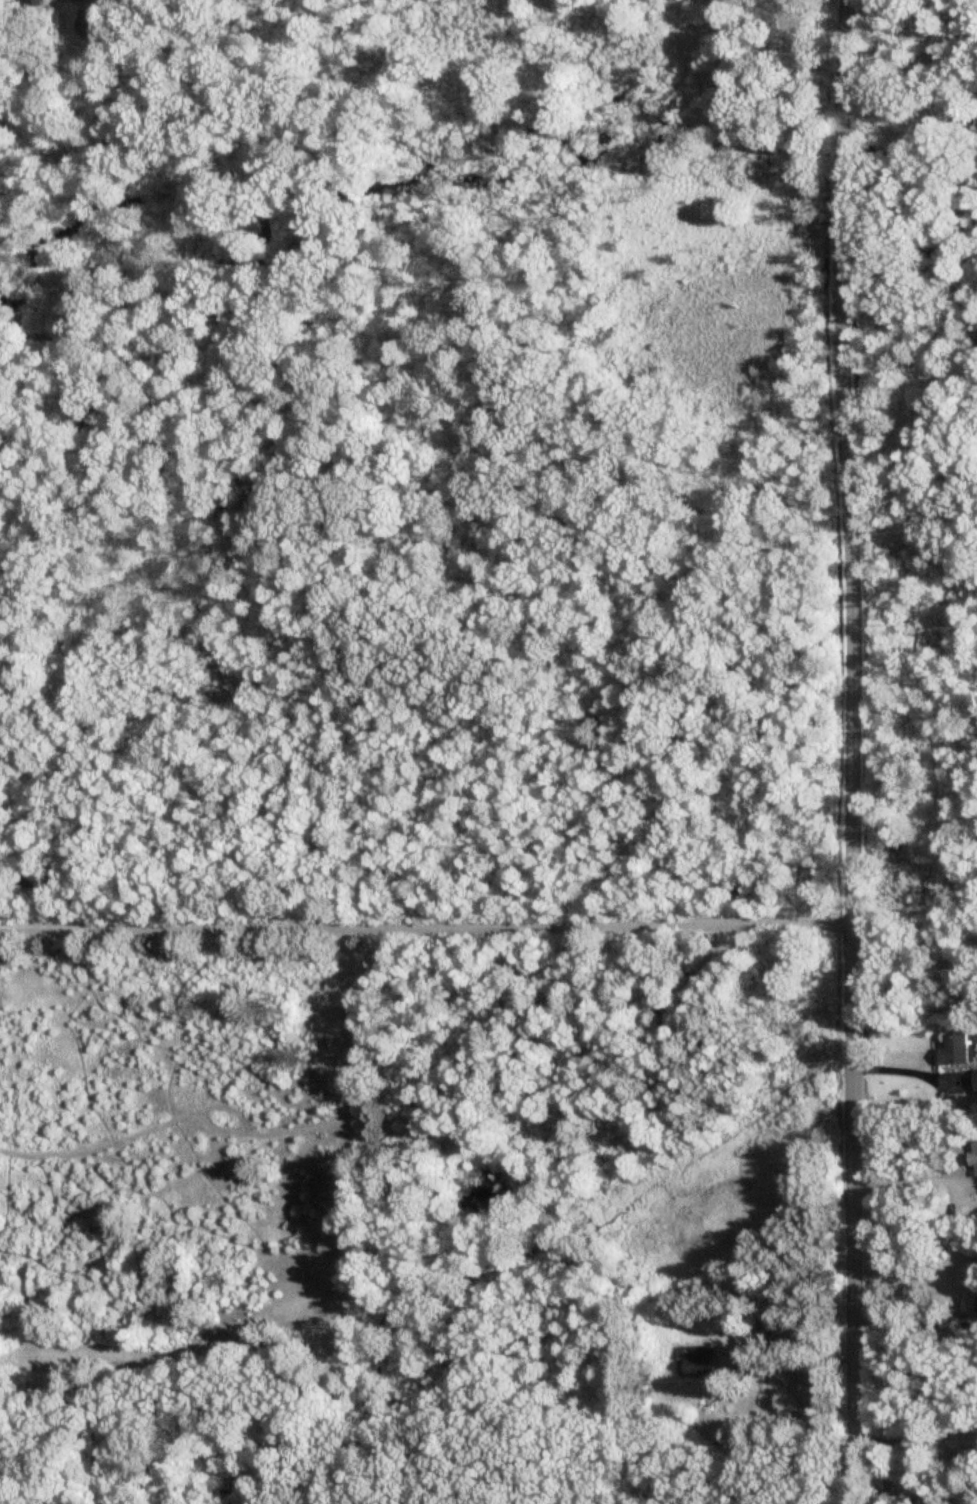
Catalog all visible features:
building: (78, 0)
building: (90, 26)
road: (852, 751)
road: (426, 926)
road: (912, 943)
building: (954, 1050)
road: (904, 1059)
building: (975, 1082)
building: (975, 1159)
road: (913, 1182)
building: (494, 1199)
building: (969, 1288)
road: (912, 1322)
building: (695, 1363)

